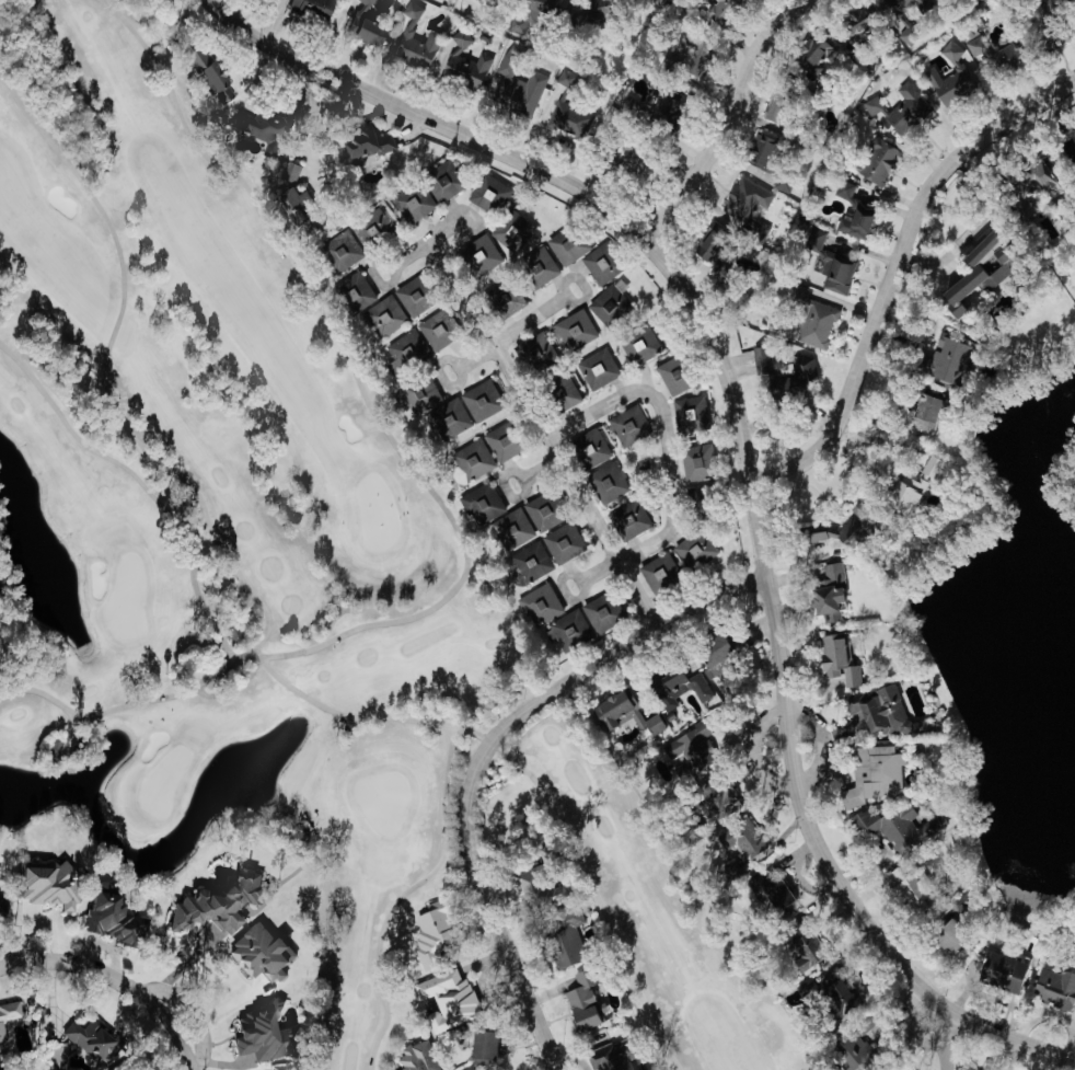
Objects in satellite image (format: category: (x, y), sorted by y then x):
building: (268, 0)
building: (474, 0)
building: (901, 7)
building: (583, 8)
building: (308, 10)
building: (716, 10)
building: (528, 14)
building: (360, 26)
building: (411, 41)
building: (1038, 41)
building: (975, 49)
building: (948, 51)
building: (681, 56)
building: (461, 64)
building: (207, 77)
building: (563, 79)
building: (945, 84)
building: (515, 88)
road: (309, 100)
building: (660, 105)
building: (771, 110)
building: (897, 111)
road: (731, 117)
building: (566, 119)
building: (256, 128)
building: (365, 143)
building: (758, 151)
building: (872, 163)
building: (440, 181)
building: (1024, 185)
building: (841, 189)
building: (485, 194)
building: (288, 195)
building: (740, 202)
building: (409, 204)
building: (855, 221)
building: (367, 228)
building: (509, 231)
road: (428, 244)
building: (565, 248)
building: (337, 250)
building: (707, 253)
building: (477, 256)
building: (827, 263)
building: (598, 264)
road: (393, 265)
building: (536, 268)
road: (898, 269)
building: (973, 274)
road: (582, 284)
building: (352, 291)
building: (409, 299)
building: (507, 301)
building: (606, 303)
building: (382, 317)
building: (813, 325)
building: (435, 330)
building: (571, 330)
road: (509, 331)
building: (638, 346)
building: (404, 348)
building: (531, 353)
building: (759, 359)
building: (947, 361)
road: (455, 367)
building: (594, 369)
building: (670, 377)
building: (795, 378)
building: (560, 394)
building: (418, 395)
building: (478, 401)
building: (686, 413)
building: (921, 414)
building: (449, 419)
building: (626, 426)
road: (544, 434)
road: (881, 438)
building: (498, 444)
building: (589, 449)
road: (669, 456)
road: (749, 459)
building: (470, 460)
building: (693, 462)
road: (543, 471)
road: (524, 479)
building: (608, 481)
building: (908, 488)
building: (479, 505)
building: (537, 513)
building: (626, 519)
building: (510, 529)
building: (821, 537)
building: (562, 543)
building: (691, 550)
building: (527, 564)
building: (657, 573)
road: (579, 577)
park: (274, 579)
building: (827, 594)
building: (537, 606)
building: (581, 624)
building: (712, 657)
building: (835, 661)
building: (674, 686)
building: (875, 712)
building: (621, 715)
building: (690, 748)
building: (50, 749)
road: (483, 751)
building: (715, 803)
building: (893, 828)
building: (738, 839)
building: (39, 887)
building: (912, 891)
building: (771, 894)
building: (213, 905)
building: (1, 910)
building: (108, 921)
building: (430, 929)
building: (946, 936)
building: (563, 943)
building: (256, 955)
building: (796, 967)
building: (997, 973)
road: (120, 977)
building: (1054, 991)
building: (824, 993)
building: (446, 1001)
building: (580, 1002)
building: (8, 1012)
road: (915, 1031)
building: (258, 1035)
building: (85, 1038)
building: (0, 1039)
building: (481, 1048)
building: (851, 1055)
building: (414, 1057)
building: (610, 1058)
building: (465, 1068)

